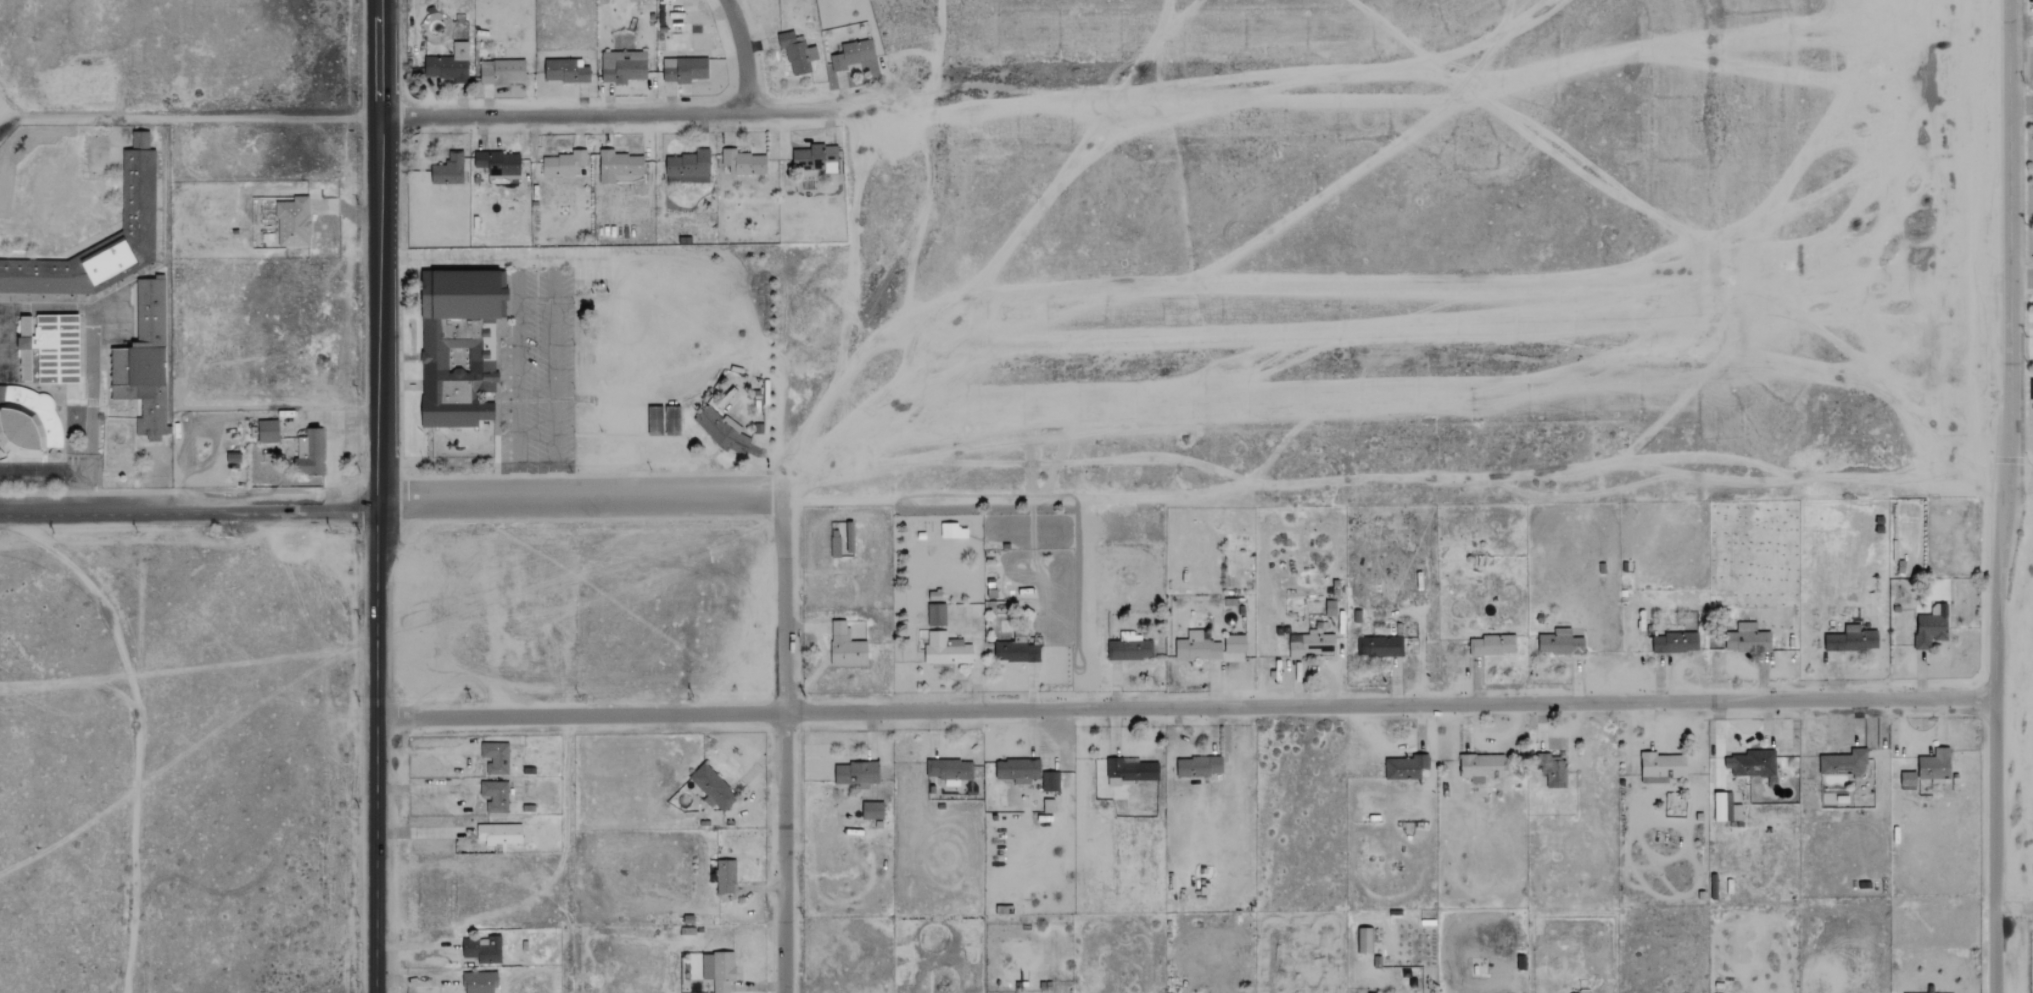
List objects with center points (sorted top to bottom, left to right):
road: (742, 52)
building: (797, 53)
building: (852, 55)
building: (449, 64)
building: (623, 67)
building: (684, 69)
building: (565, 71)
building: (501, 72)
road: (2022, 105)
road: (613, 116)
road: (191, 117)
building: (816, 158)
building: (742, 163)
building: (499, 164)
building: (562, 164)
building: (619, 167)
building: (687, 168)
building: (448, 170)
building: (138, 189)
building: (293, 222)
road: (382, 254)
road: (492, 257)
road: (2022, 276)
building: (460, 344)
building: (49, 347)
building: (144, 360)
road: (551, 376)
road: (514, 377)
road: (2022, 384)
building: (673, 422)
building: (31, 423)
building: (721, 431)
building: (268, 432)
building: (309, 453)
building: (233, 461)
road: (59, 470)
road: (1382, 478)
road: (2011, 482)
road: (581, 496)
road: (2006, 496)
road: (190, 511)
building: (835, 544)
building: (934, 595)
building: (1330, 607)
building: (936, 614)
building: (1932, 626)
building: (1748, 638)
building: (1853, 639)
building: (1676, 642)
building: (1235, 643)
building: (1310, 643)
building: (1560, 643)
building: (1493, 644)
building: (1379, 645)
building: (846, 646)
building: (1197, 647)
building: (1129, 648)
building: (946, 649)
building: (1016, 651)
road: (1185, 707)
road: (783, 742)
road: (375, 750)
road: (135, 751)
road: (423, 751)
building: (495, 757)
building: (1844, 762)
building: (1752, 763)
building: (1935, 764)
building: (1199, 766)
building: (1482, 766)
building: (1406, 767)
building: (1662, 767)
building: (951, 770)
building: (1018, 770)
building: (1554, 770)
building: (1131, 771)
building: (856, 773)
building: (1908, 780)
building: (1050, 781)
building: (711, 787)
road: (424, 789)
building: (495, 796)
building: (1720, 806)
building: (872, 810)
building: (1734, 810)
road: (423, 832)
building: (499, 833)
building: (725, 876)
road: (2014, 908)
building: (1364, 940)
building: (482, 950)
building: (718, 970)
building: (480, 982)

